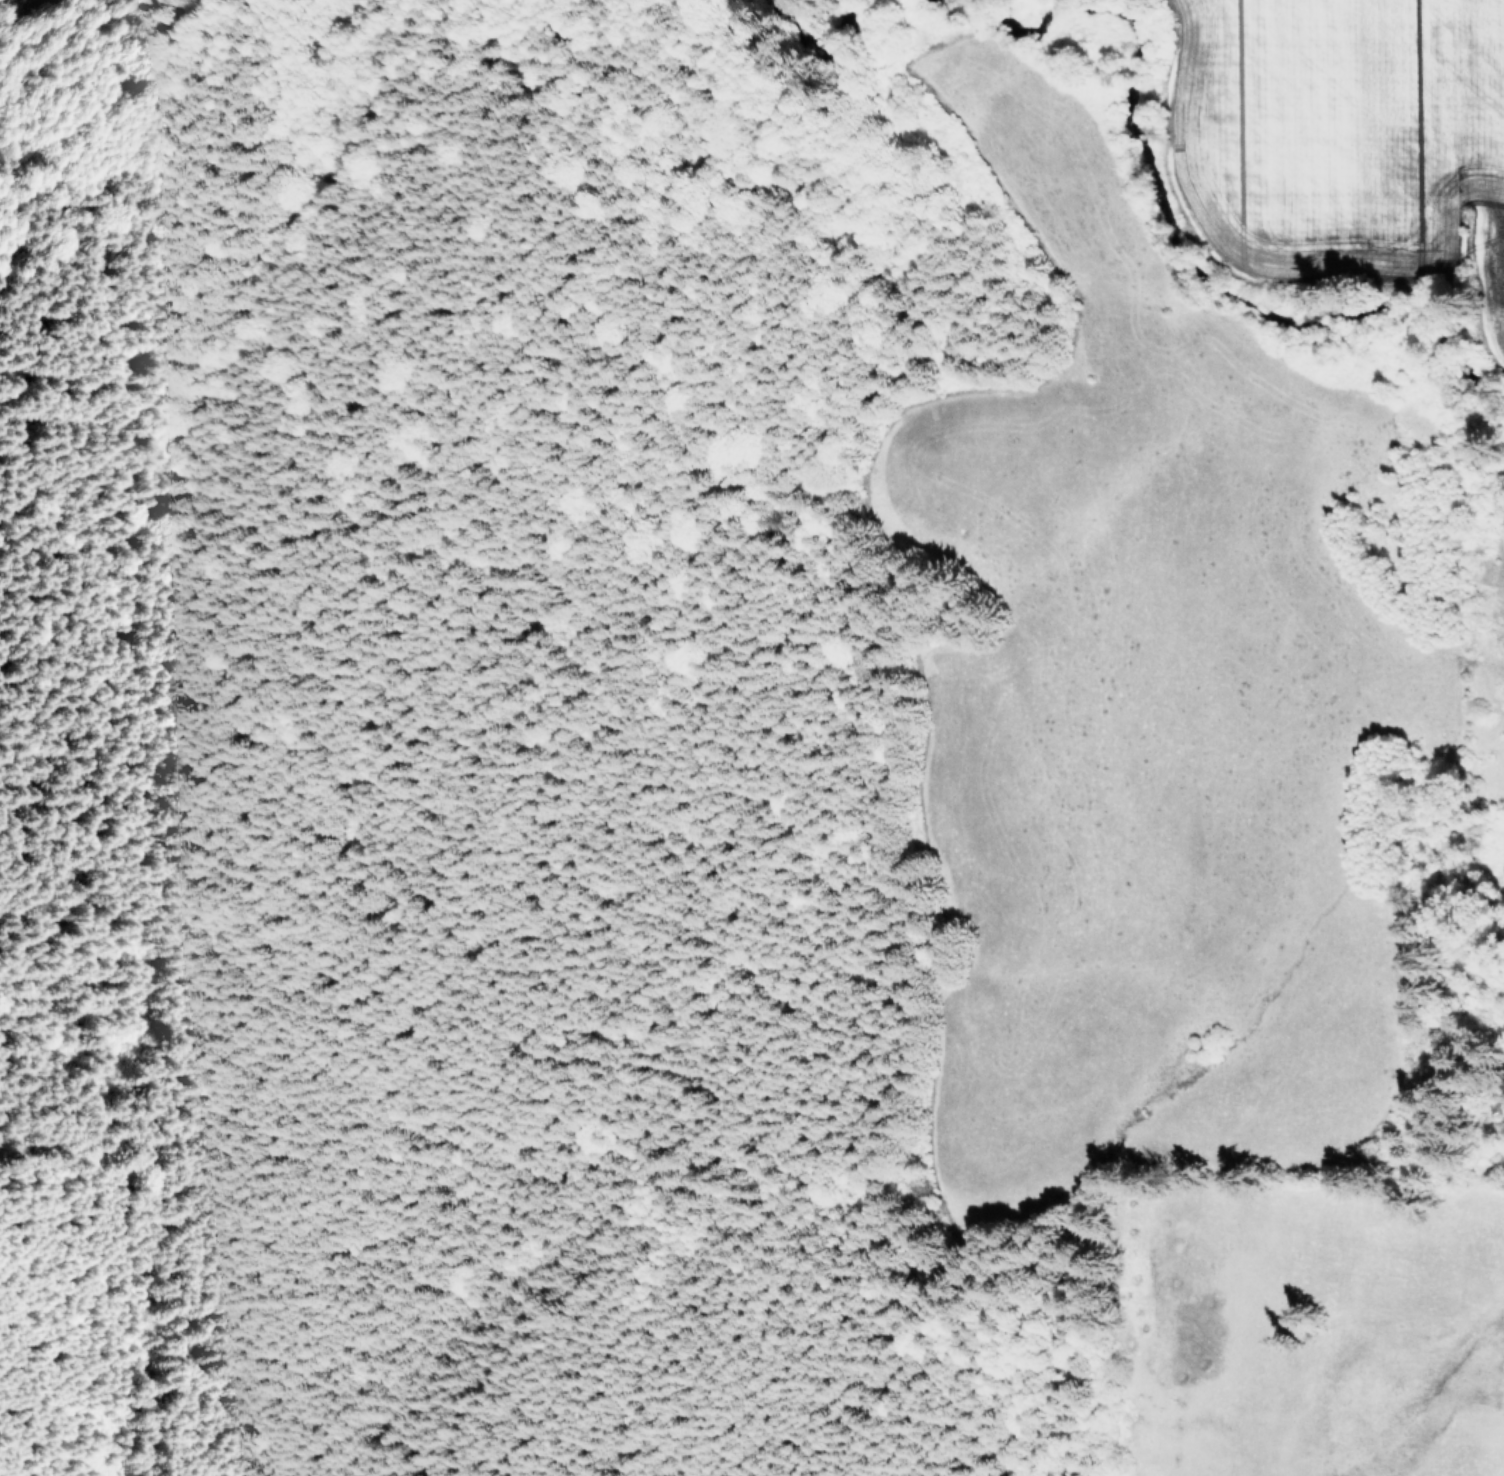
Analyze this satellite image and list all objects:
crop: (1152, 140)

